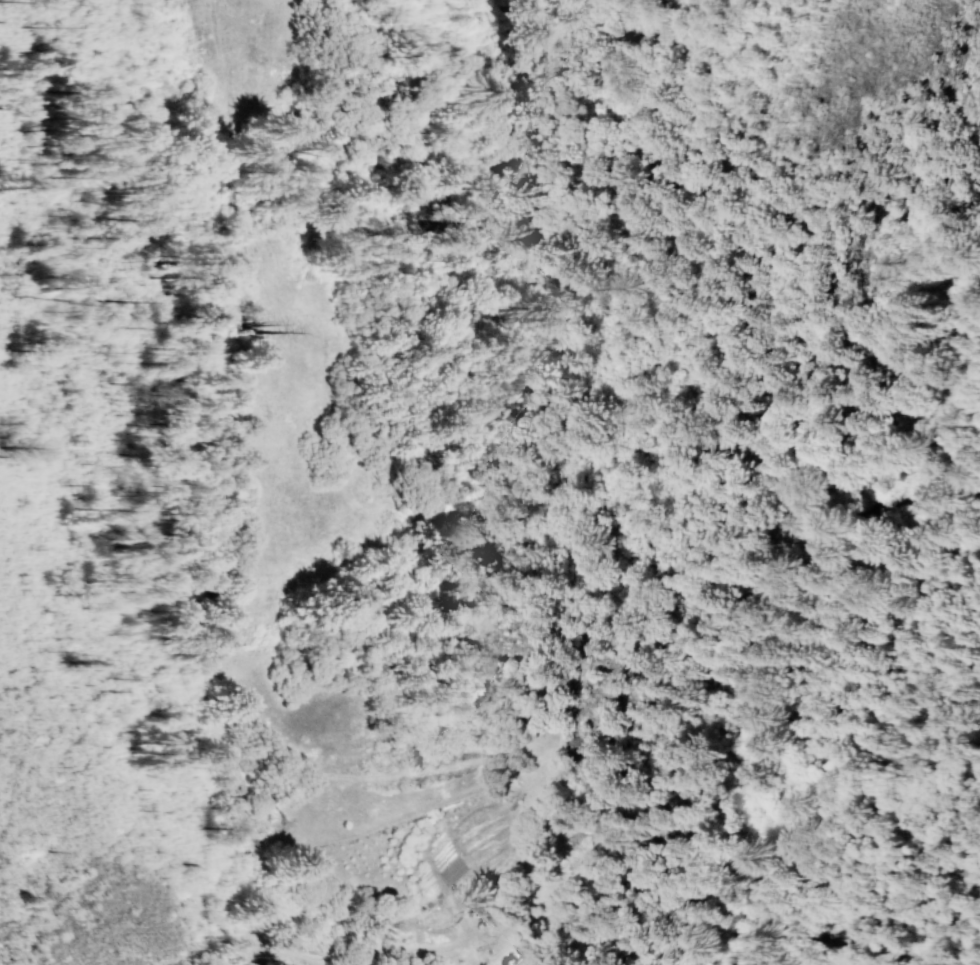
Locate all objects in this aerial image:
road: (254, 721)

